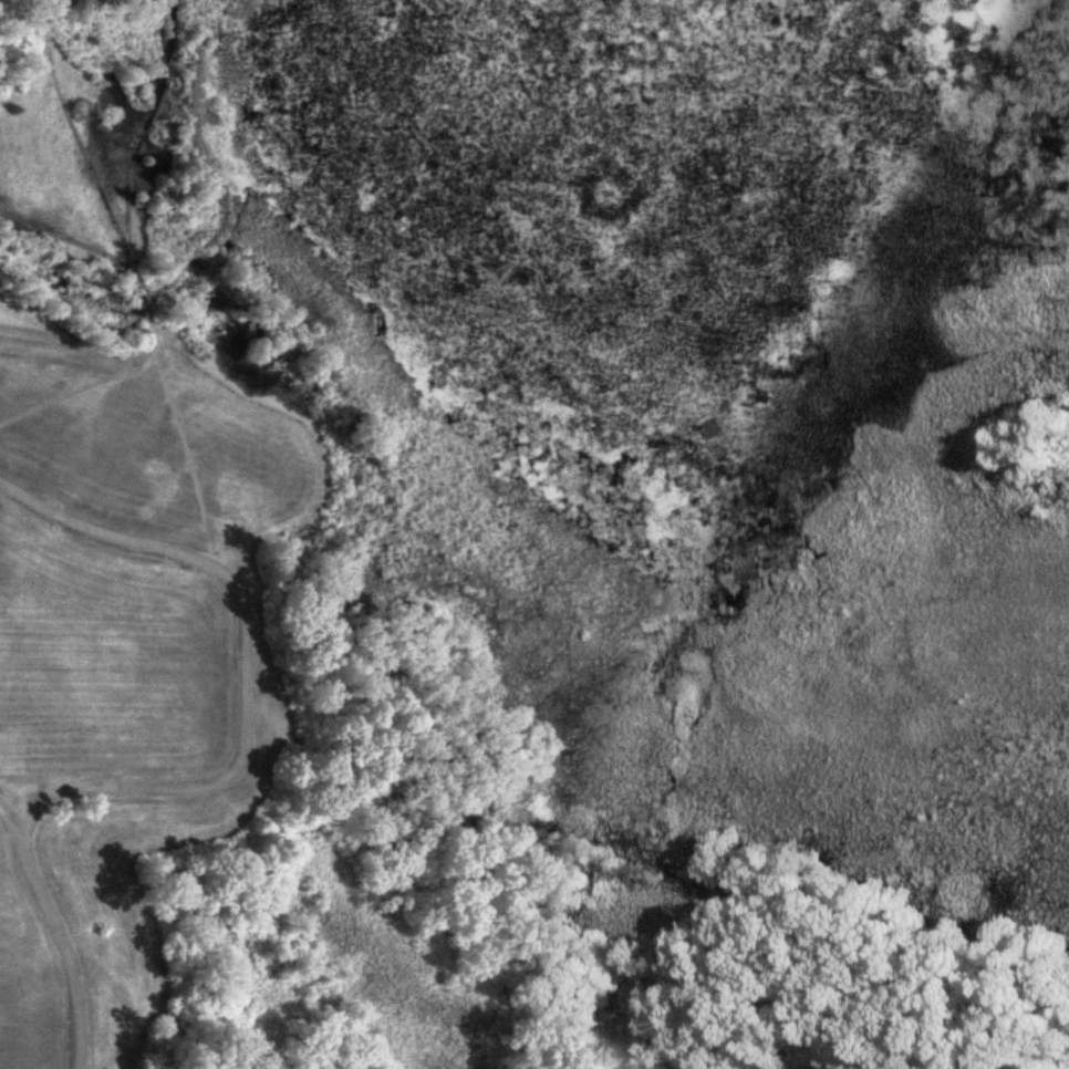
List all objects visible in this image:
road: (219, 779)

